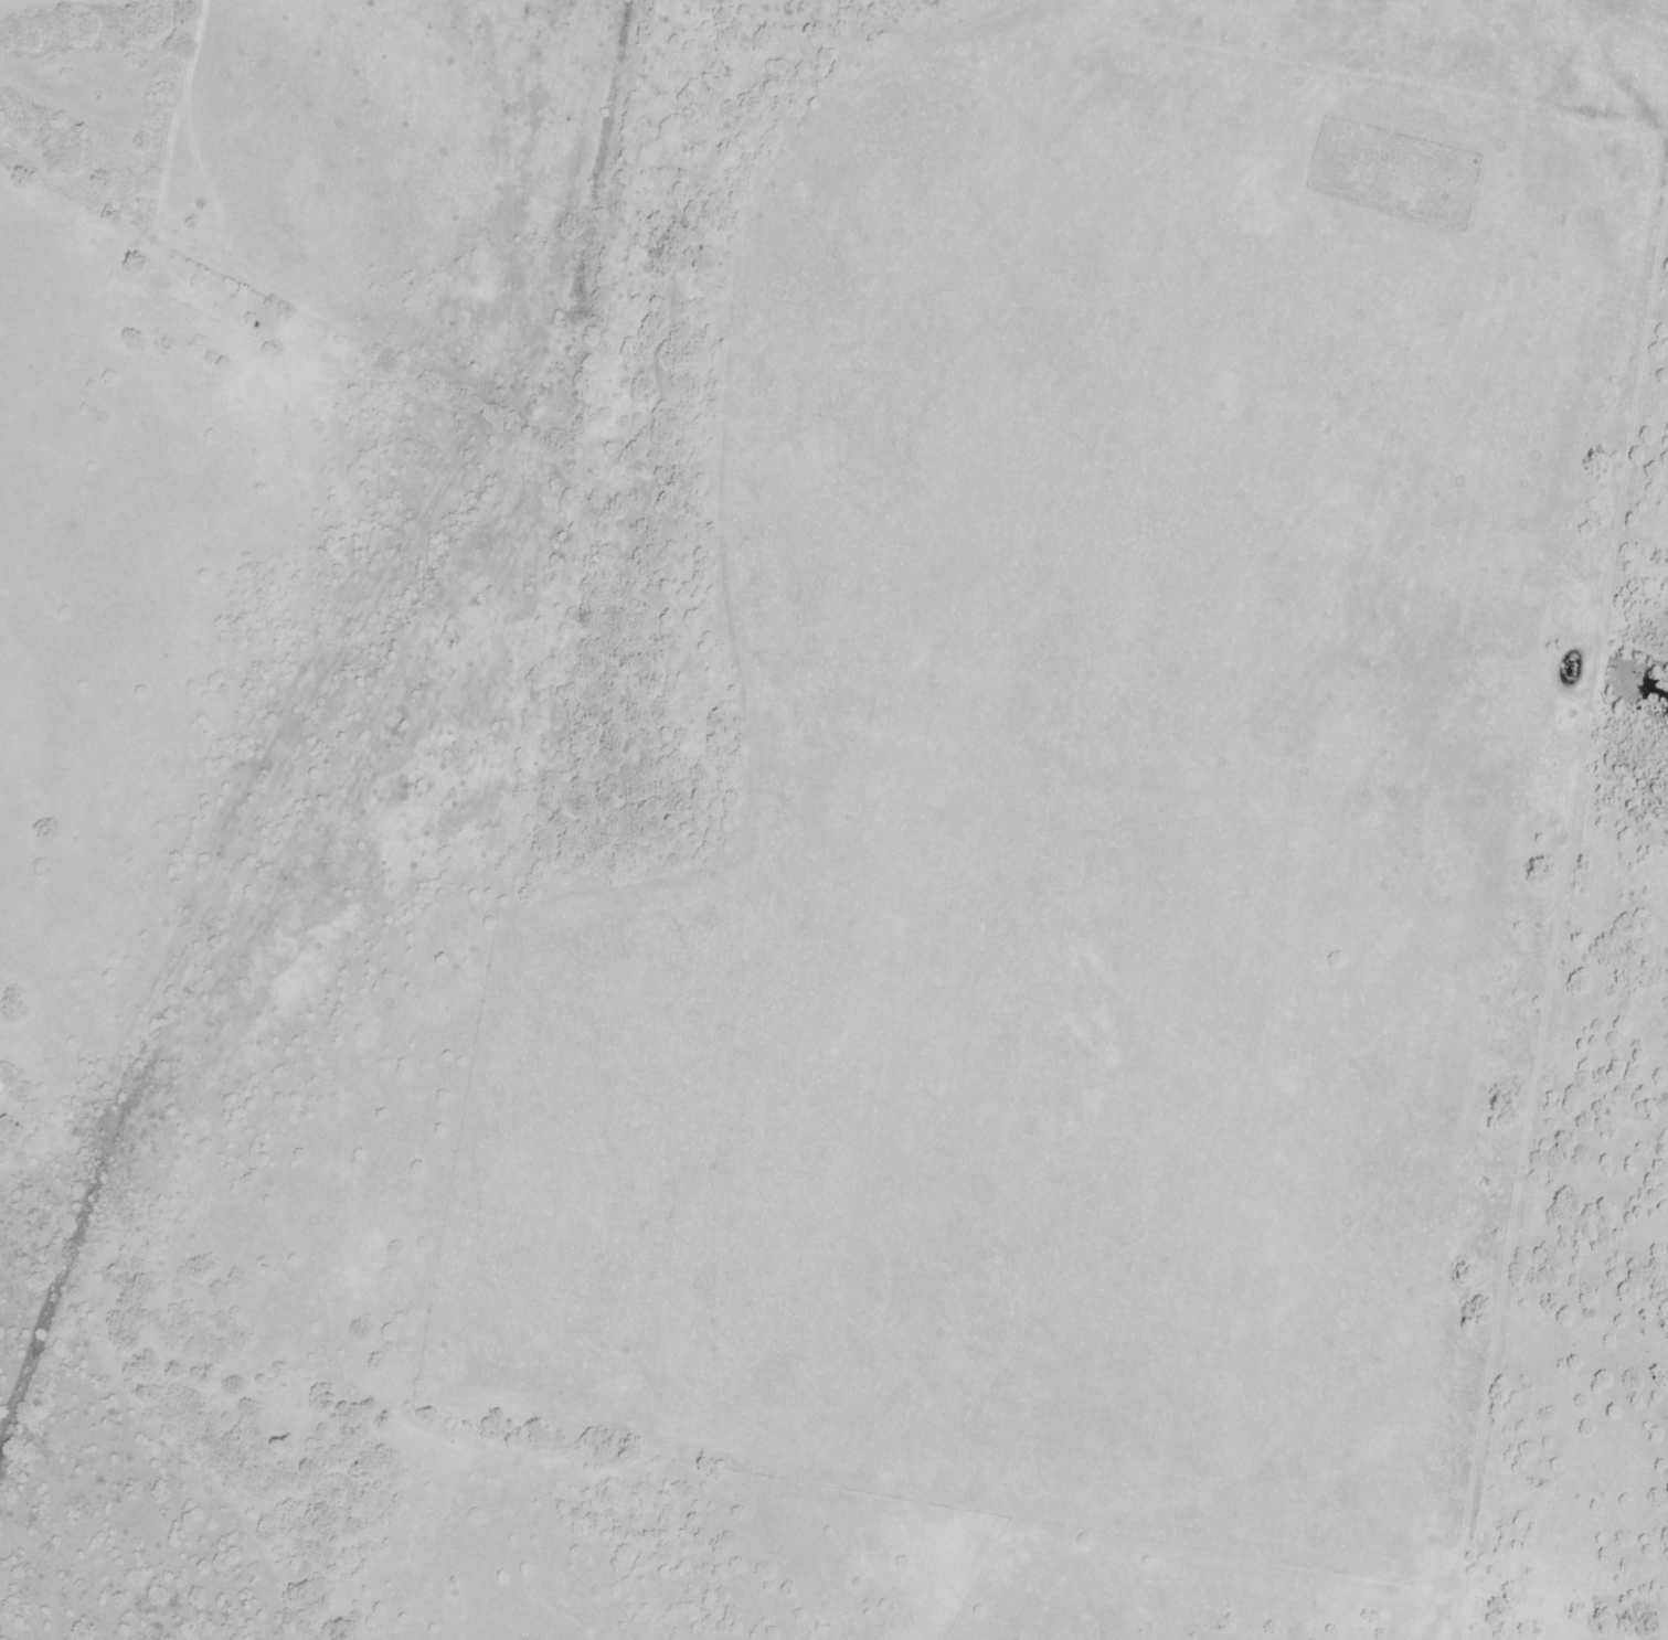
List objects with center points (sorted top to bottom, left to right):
road: (2, 0)

